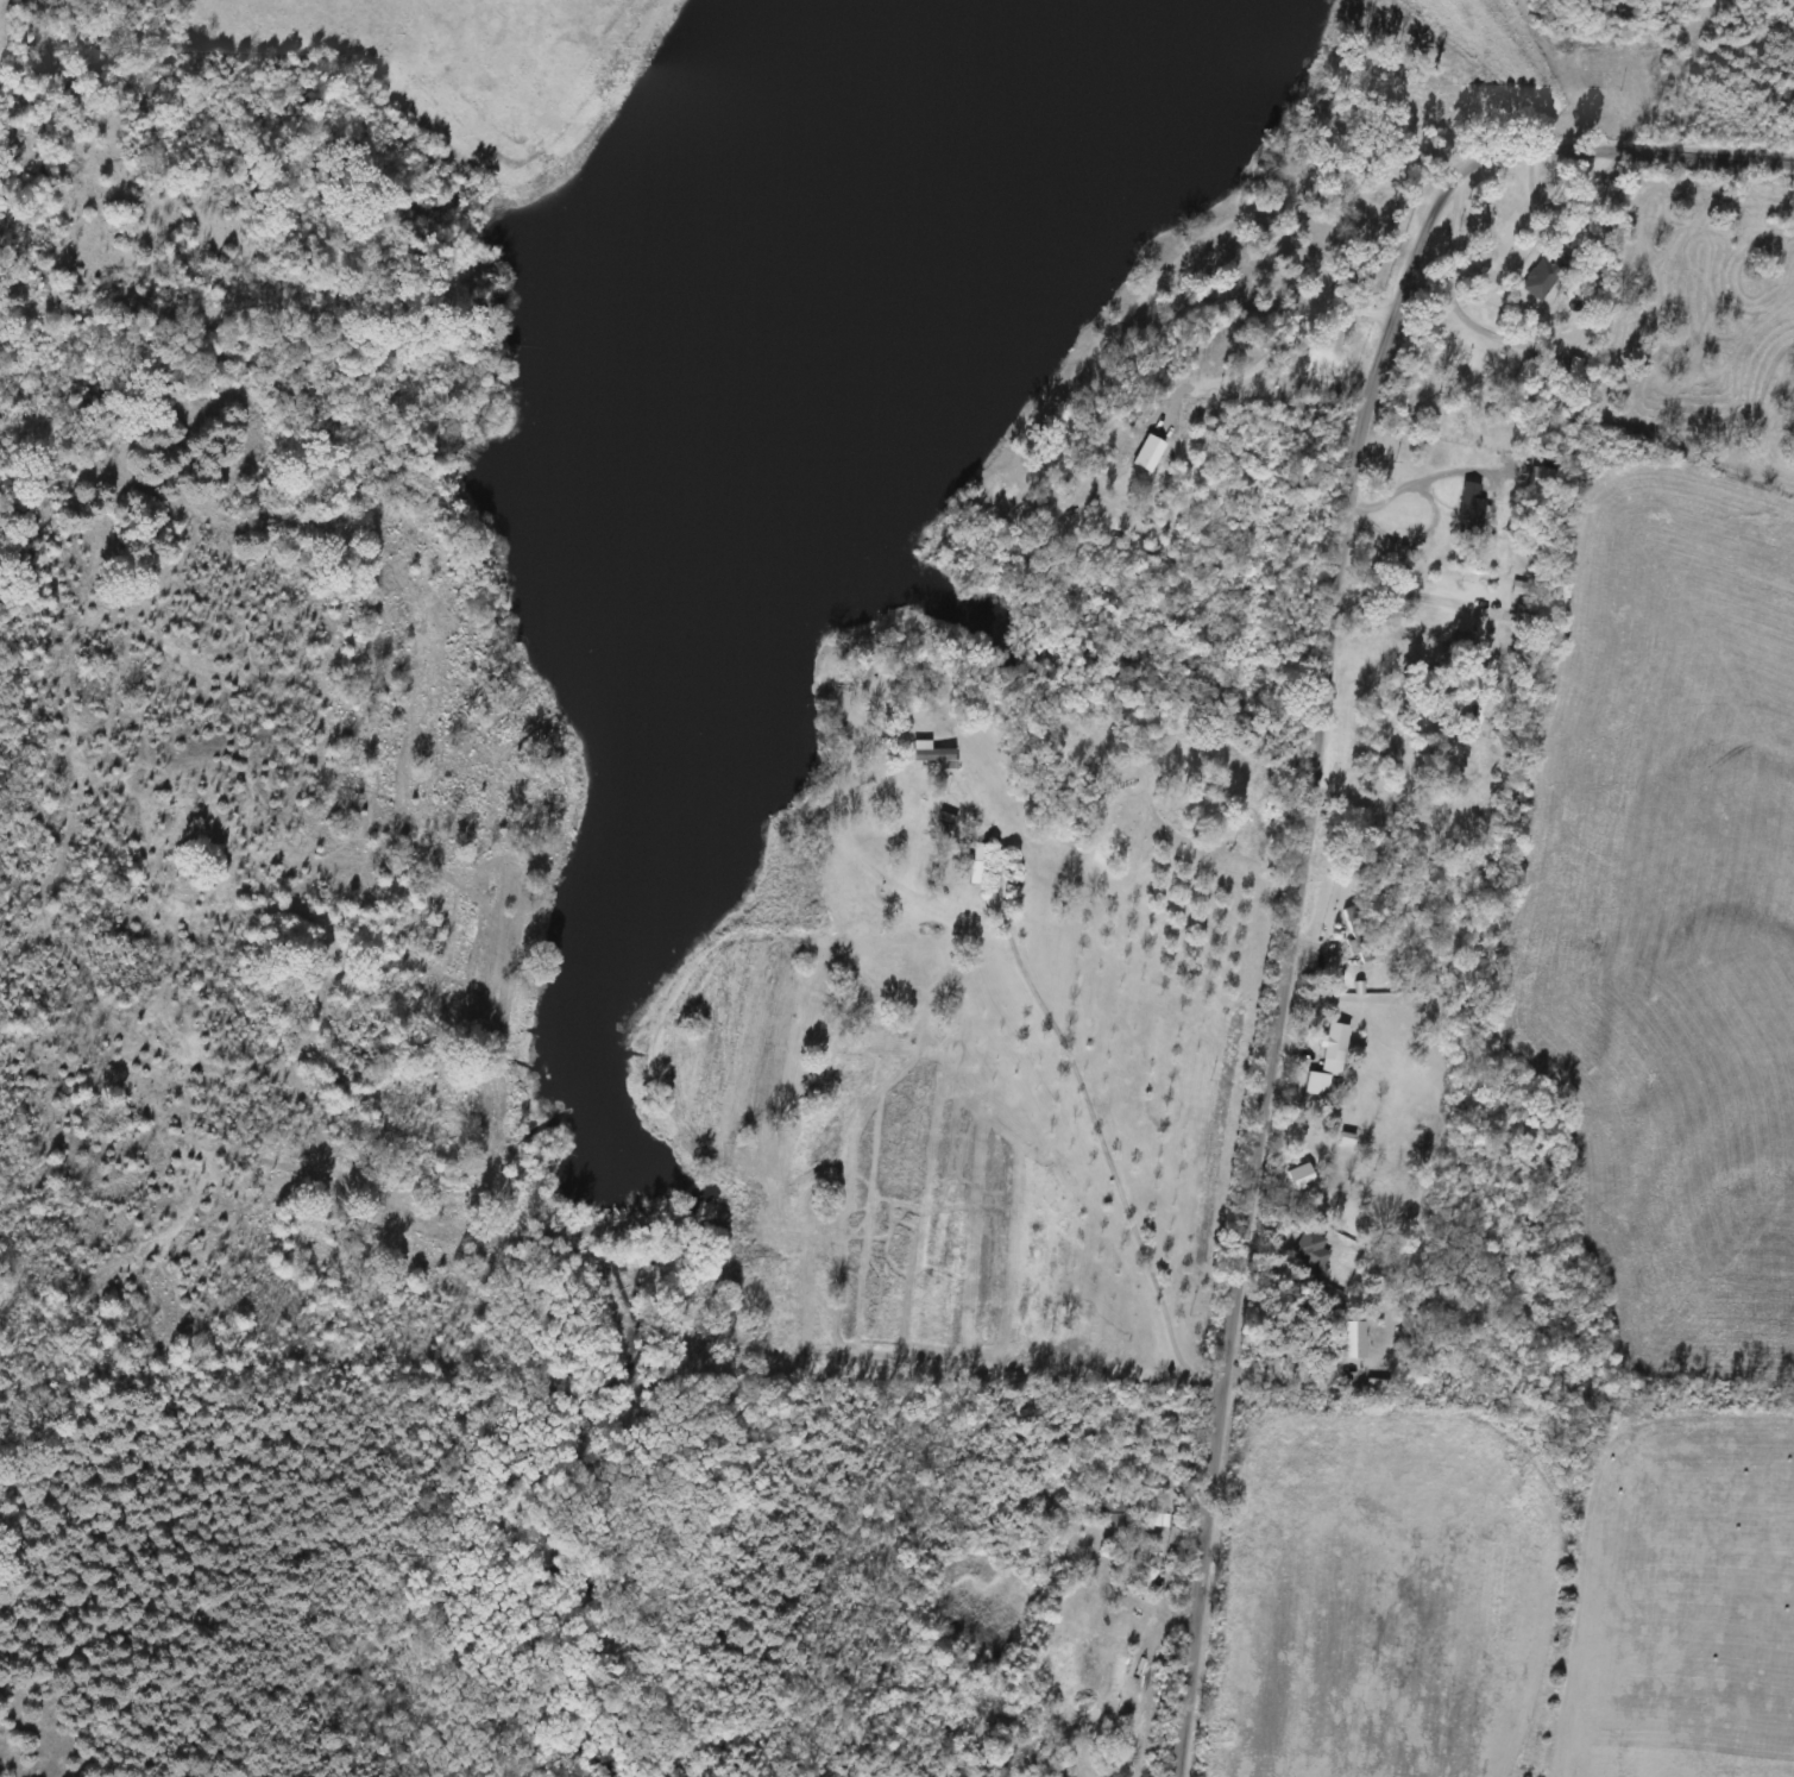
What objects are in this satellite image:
road: (1449, 268)
building: (1535, 281)
road: (1288, 339)
road: (1416, 478)
building: (1466, 510)
road: (1435, 597)
building: (926, 753)
road: (1308, 798)
building: (1323, 1061)
road: (1087, 1091)
building: (1307, 1250)
building: (1349, 1339)
building: (1126, 1688)

